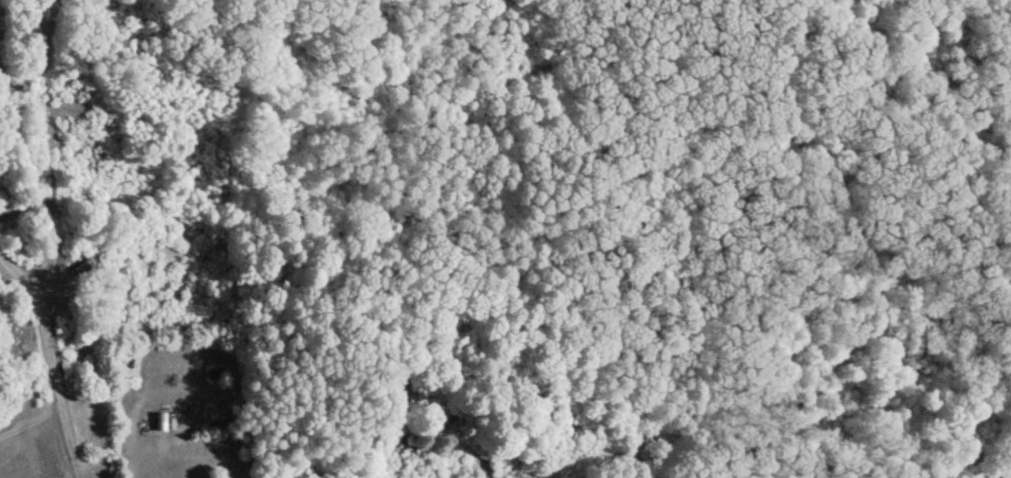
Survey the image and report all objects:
building: (77, 267)

